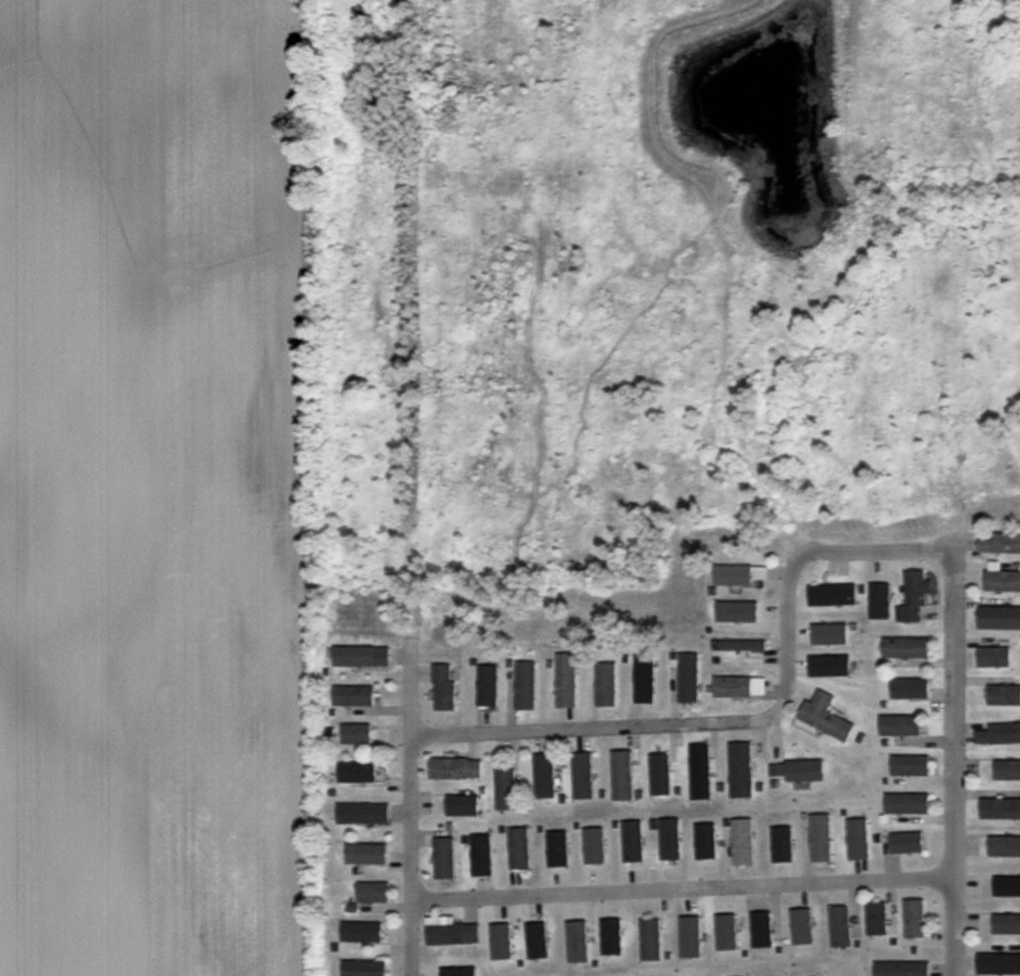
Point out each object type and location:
building: (1001, 545)
road: (876, 551)
building: (734, 576)
building: (1002, 582)
building: (833, 596)
building: (915, 596)
building: (999, 619)
building: (907, 649)
building: (354, 657)
building: (689, 678)
building: (645, 679)
building: (567, 681)
building: (607, 685)
building: (488, 687)
building: (526, 687)
building: (736, 687)
building: (445, 688)
building: (911, 689)
building: (354, 696)
building: (1003, 696)
building: (826, 717)
road: (675, 724)
building: (901, 726)
building: (357, 734)
building: (999, 734)
road: (954, 761)
building: (911, 766)
building: (456, 769)
building: (741, 770)
building: (1007, 770)
building: (701, 772)
building: (797, 772)
building: (363, 773)
building: (661, 775)
building: (583, 776)
building: (623, 776)
building: (545, 777)
building: (506, 790)
building: (908, 804)
building: (463, 806)
road: (410, 809)
building: (363, 814)
building: (671, 839)
building: (822, 839)
building: (634, 842)
building: (744, 843)
building: (907, 844)
building: (520, 850)
building: (367, 853)
building: (444, 859)
building: (1007, 886)
road: (680, 890)
building: (373, 892)
building: (877, 919)
building: (915, 919)
building: (1006, 924)
building: (764, 927)
building: (840, 927)
building: (361, 932)
building: (451, 932)
building: (652, 940)
building: (998, 964)
building: (902, 969)

